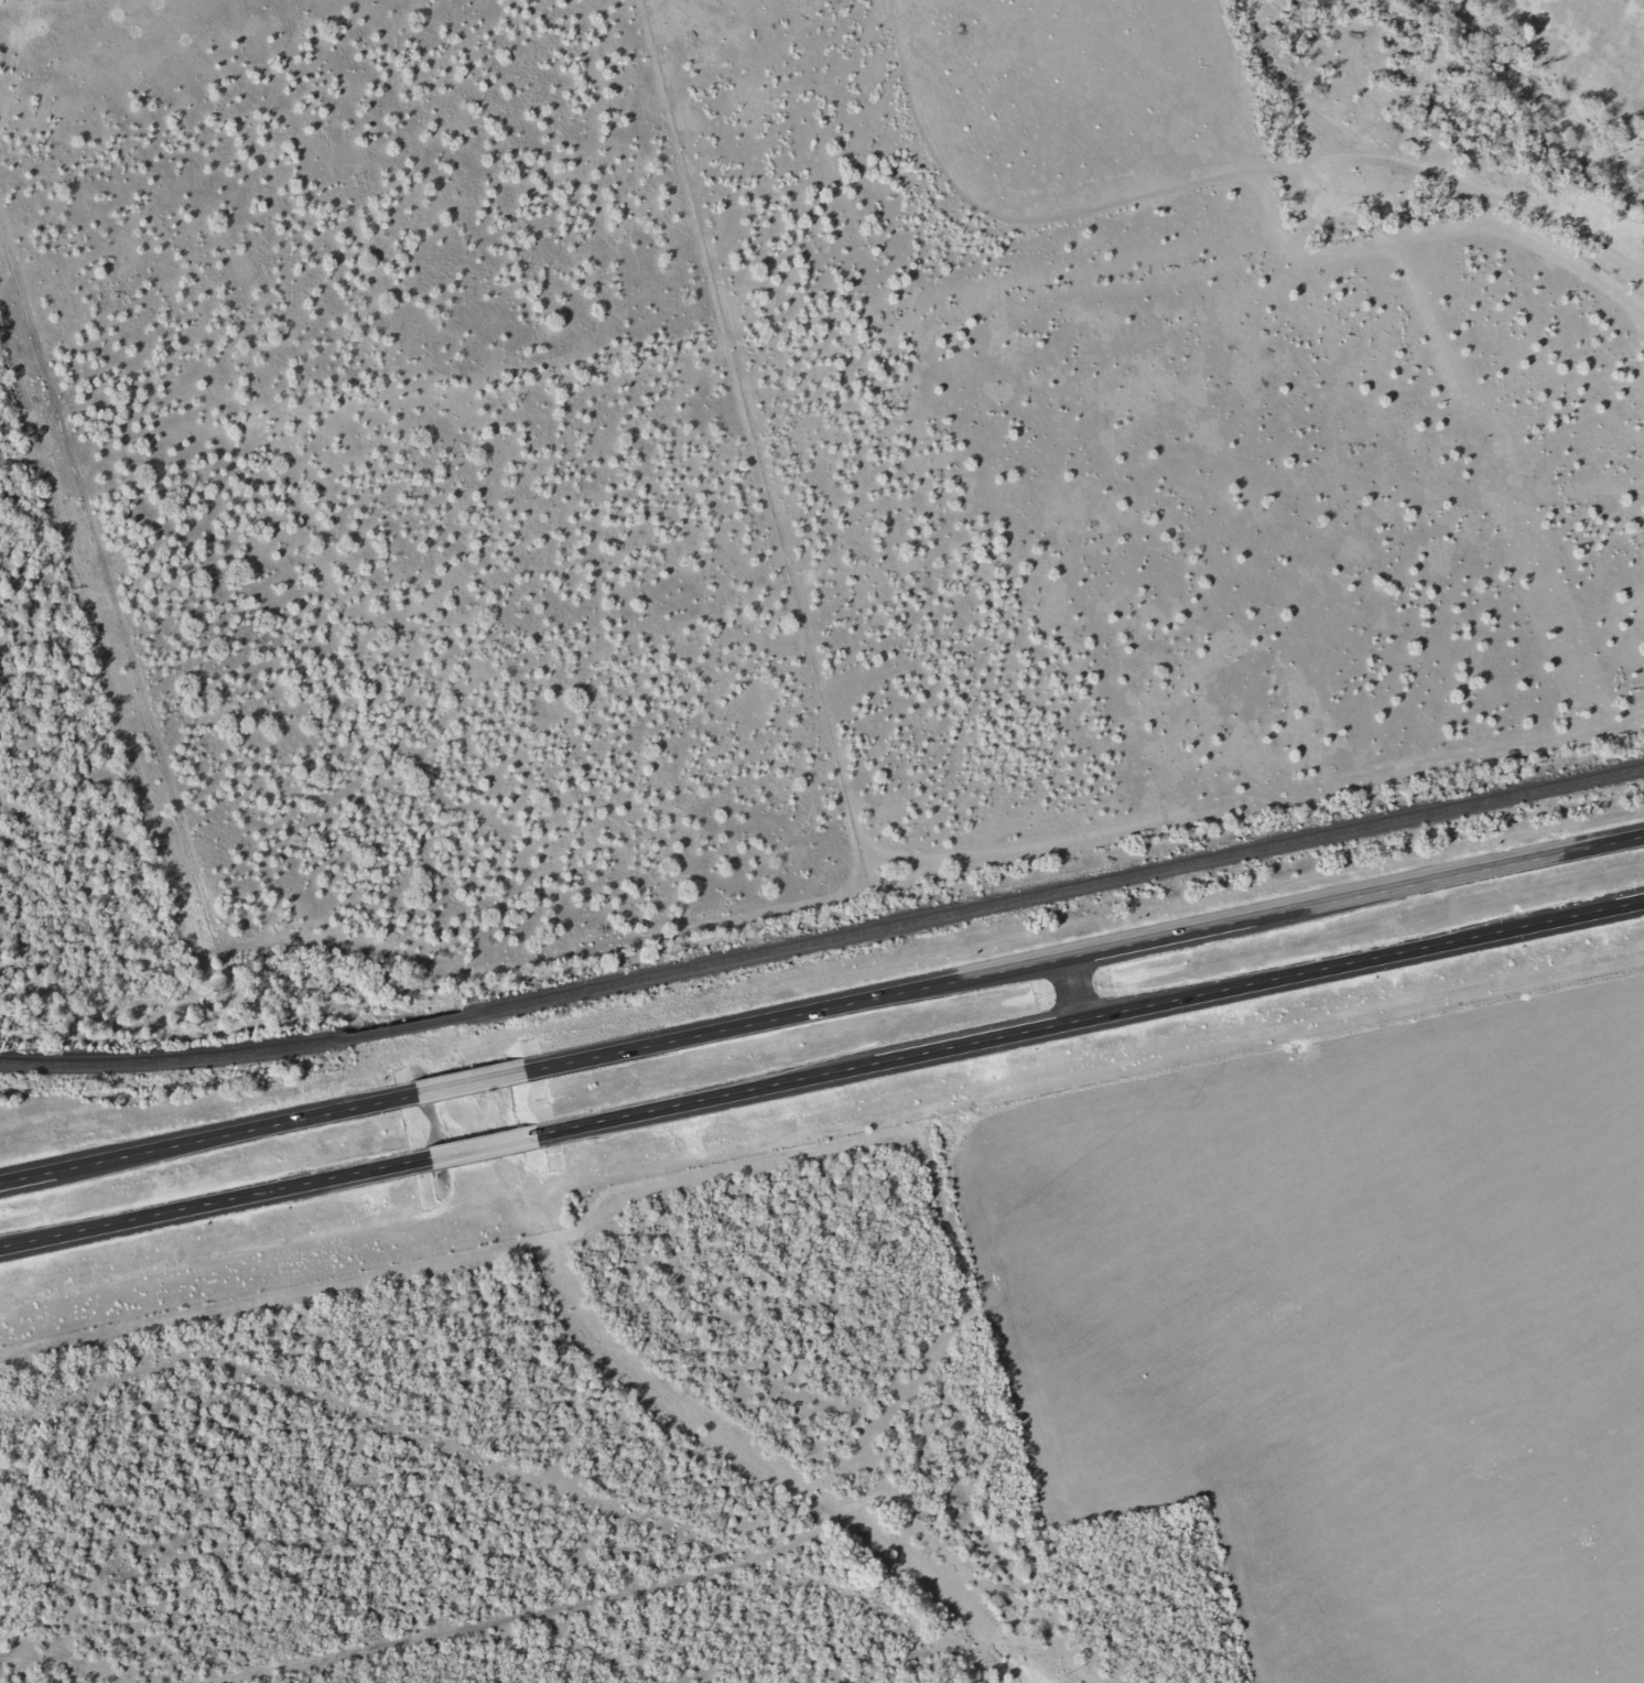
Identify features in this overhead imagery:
railway: (1052, 891)
road: (1090, 951)
road: (1078, 986)
road: (1107, 1013)
railway: (404, 1027)
railway: (173, 1058)
road: (477, 1081)
road: (209, 1137)
road: (495, 1143)
road: (208, 1202)
road: (13, 1669)

